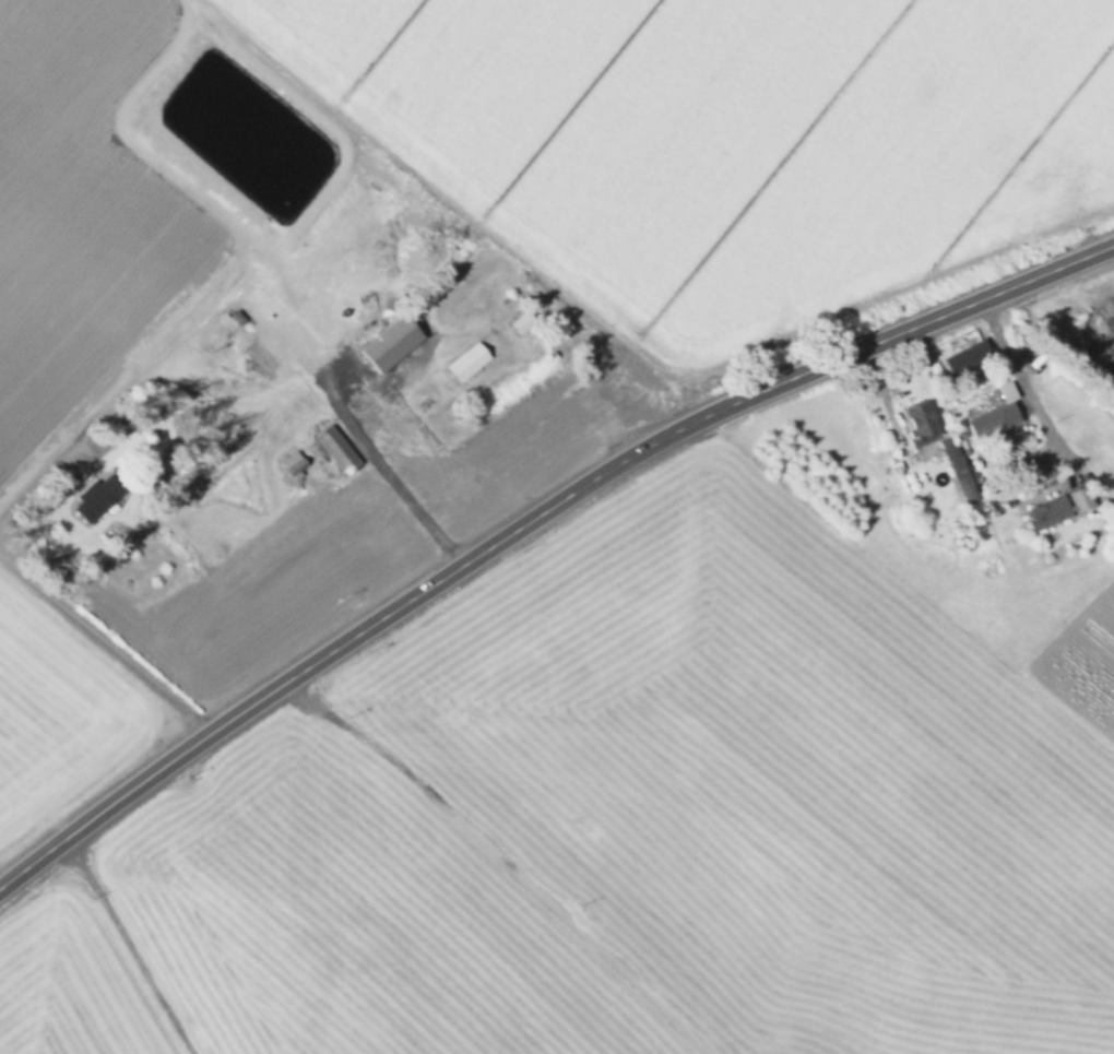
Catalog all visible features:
crop: (437, 282)
building: (392, 343)
building: (964, 360)
building: (469, 362)
road: (1020, 376)
building: (607, 380)
building: (994, 416)
building: (916, 423)
building: (336, 449)
building: (951, 454)
building: (294, 463)
road: (394, 481)
road: (20, 485)
building: (97, 498)
crop: (988, 501)
building: (1057, 508)
road: (530, 519)
road: (105, 640)
crop: (623, 832)
road: (129, 945)

